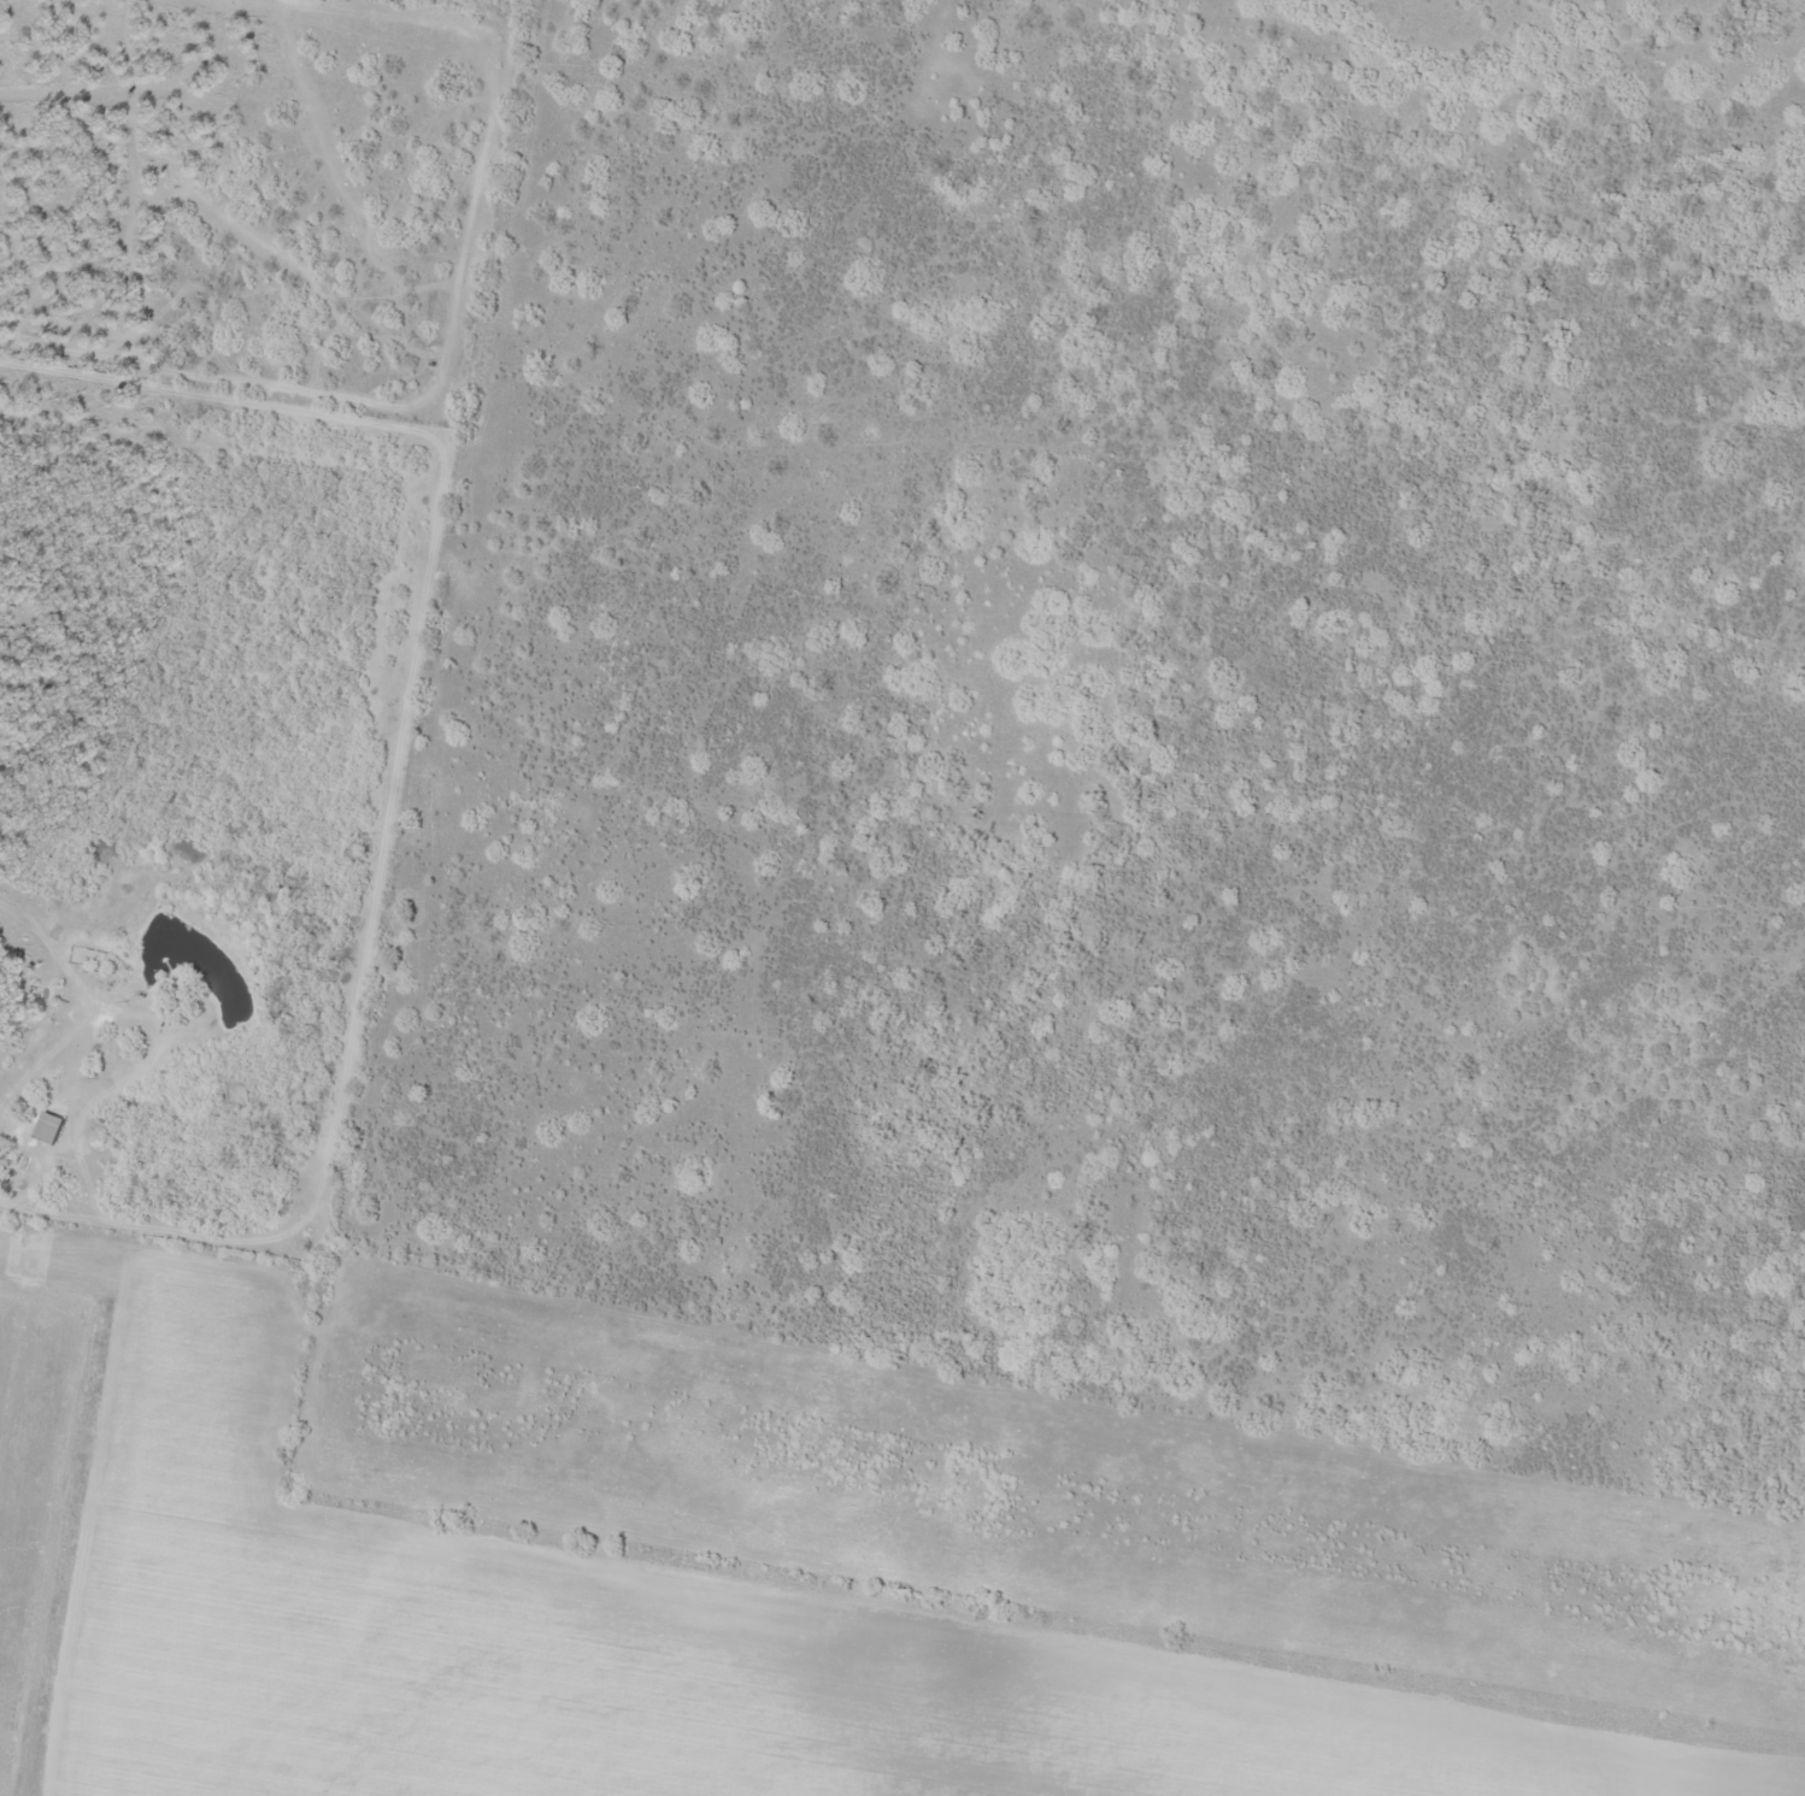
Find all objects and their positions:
building: (45, 1127)
road: (1258, 1625)

